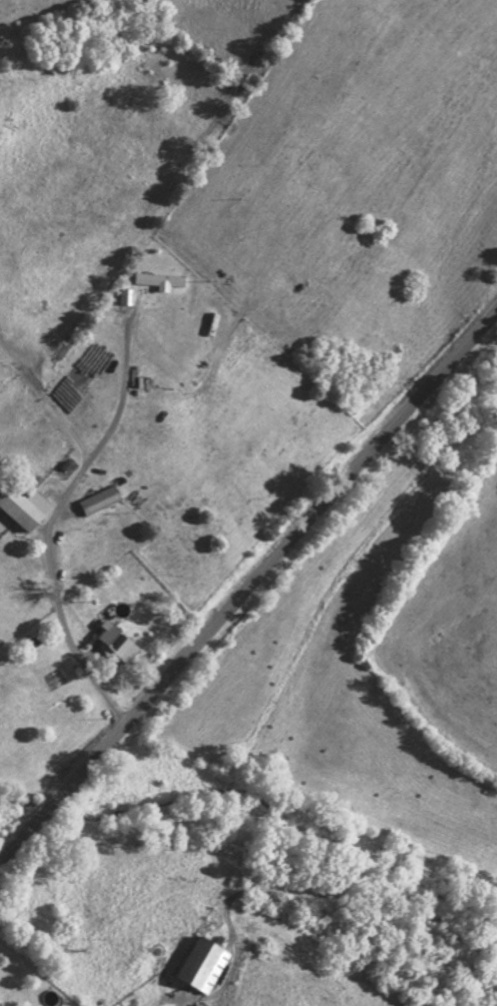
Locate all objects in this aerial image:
building: (100, 500)
building: (25, 507)
road: (53, 520)
road: (248, 590)
building: (118, 642)
building: (204, 964)

